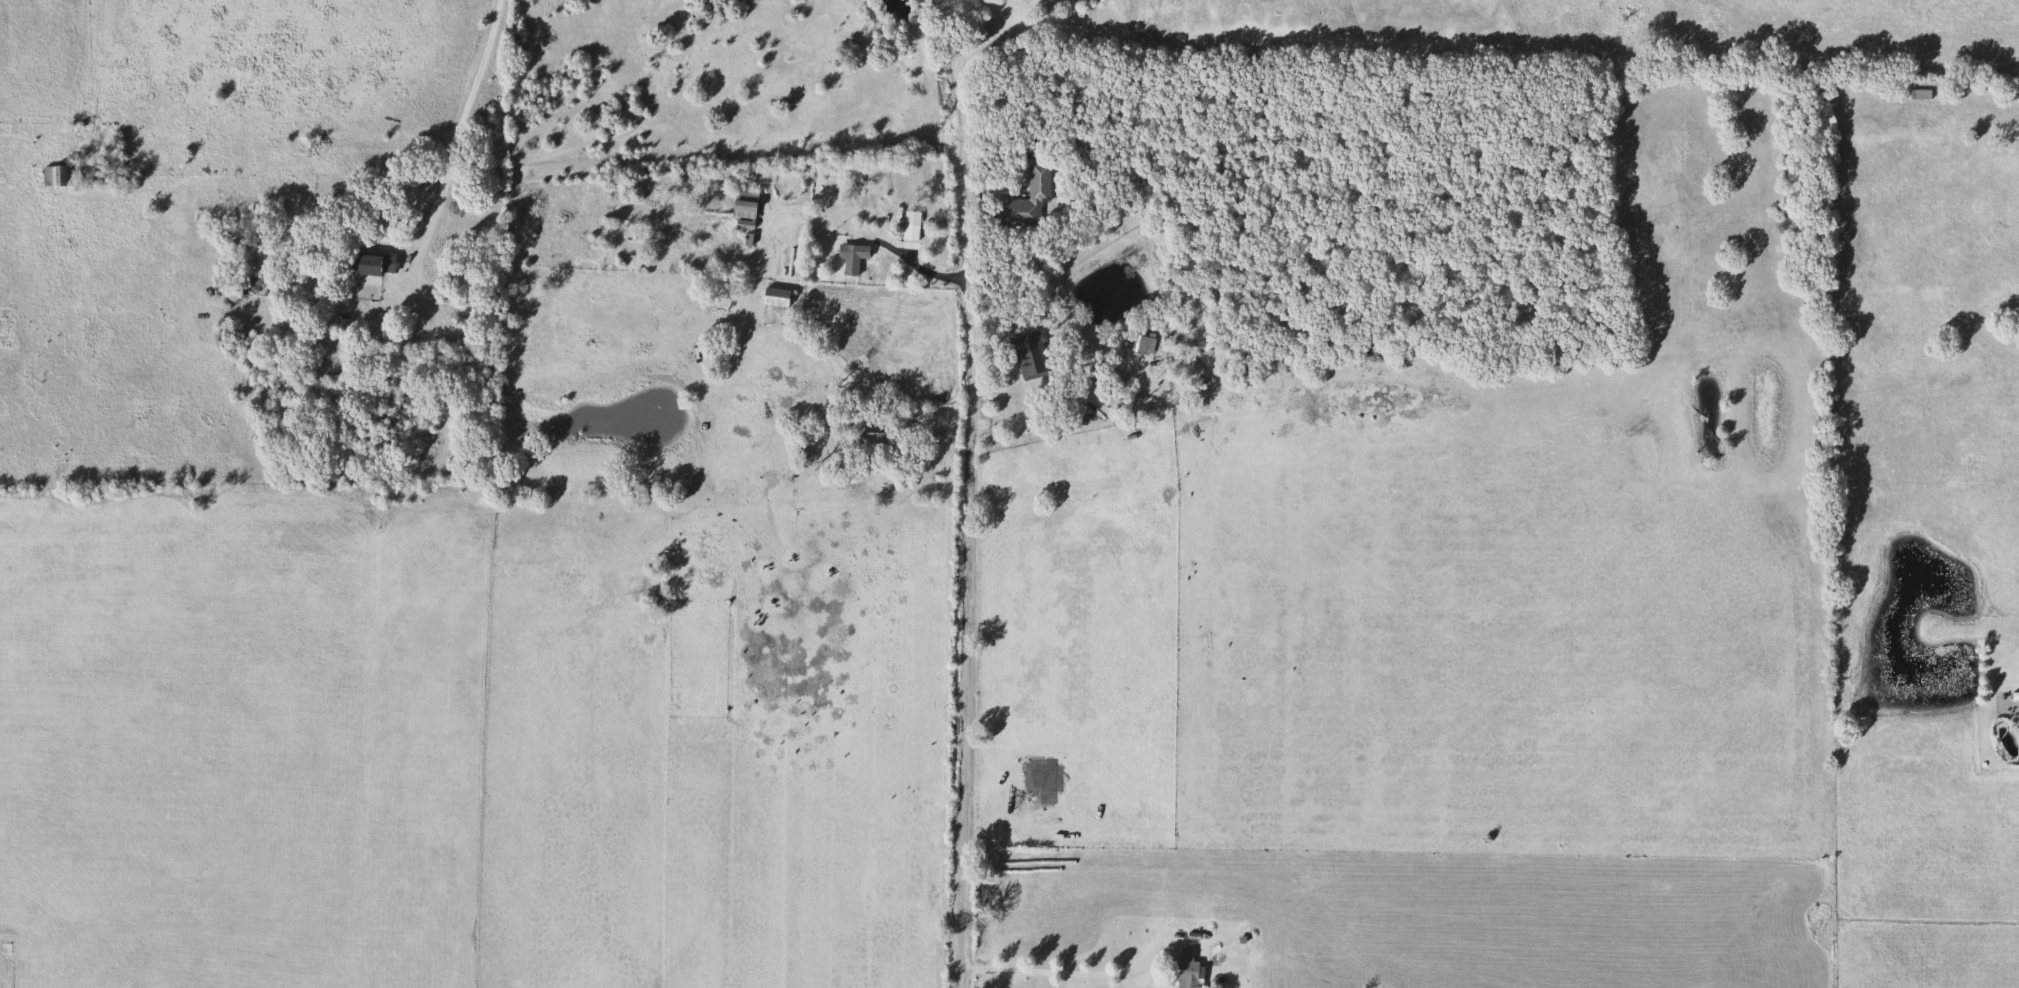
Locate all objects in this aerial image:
building: (1918, 93)
road: (458, 124)
building: (55, 174)
building: (1022, 200)
building: (743, 202)
building: (910, 218)
building: (850, 256)
road: (911, 260)
building: (371, 263)
building: (250, 286)
building: (773, 296)
building: (1139, 344)
building: (872, 443)
road: (971, 493)
building: (2018, 722)
building: (1314, 870)
building: (1184, 970)
road: (1065, 972)

